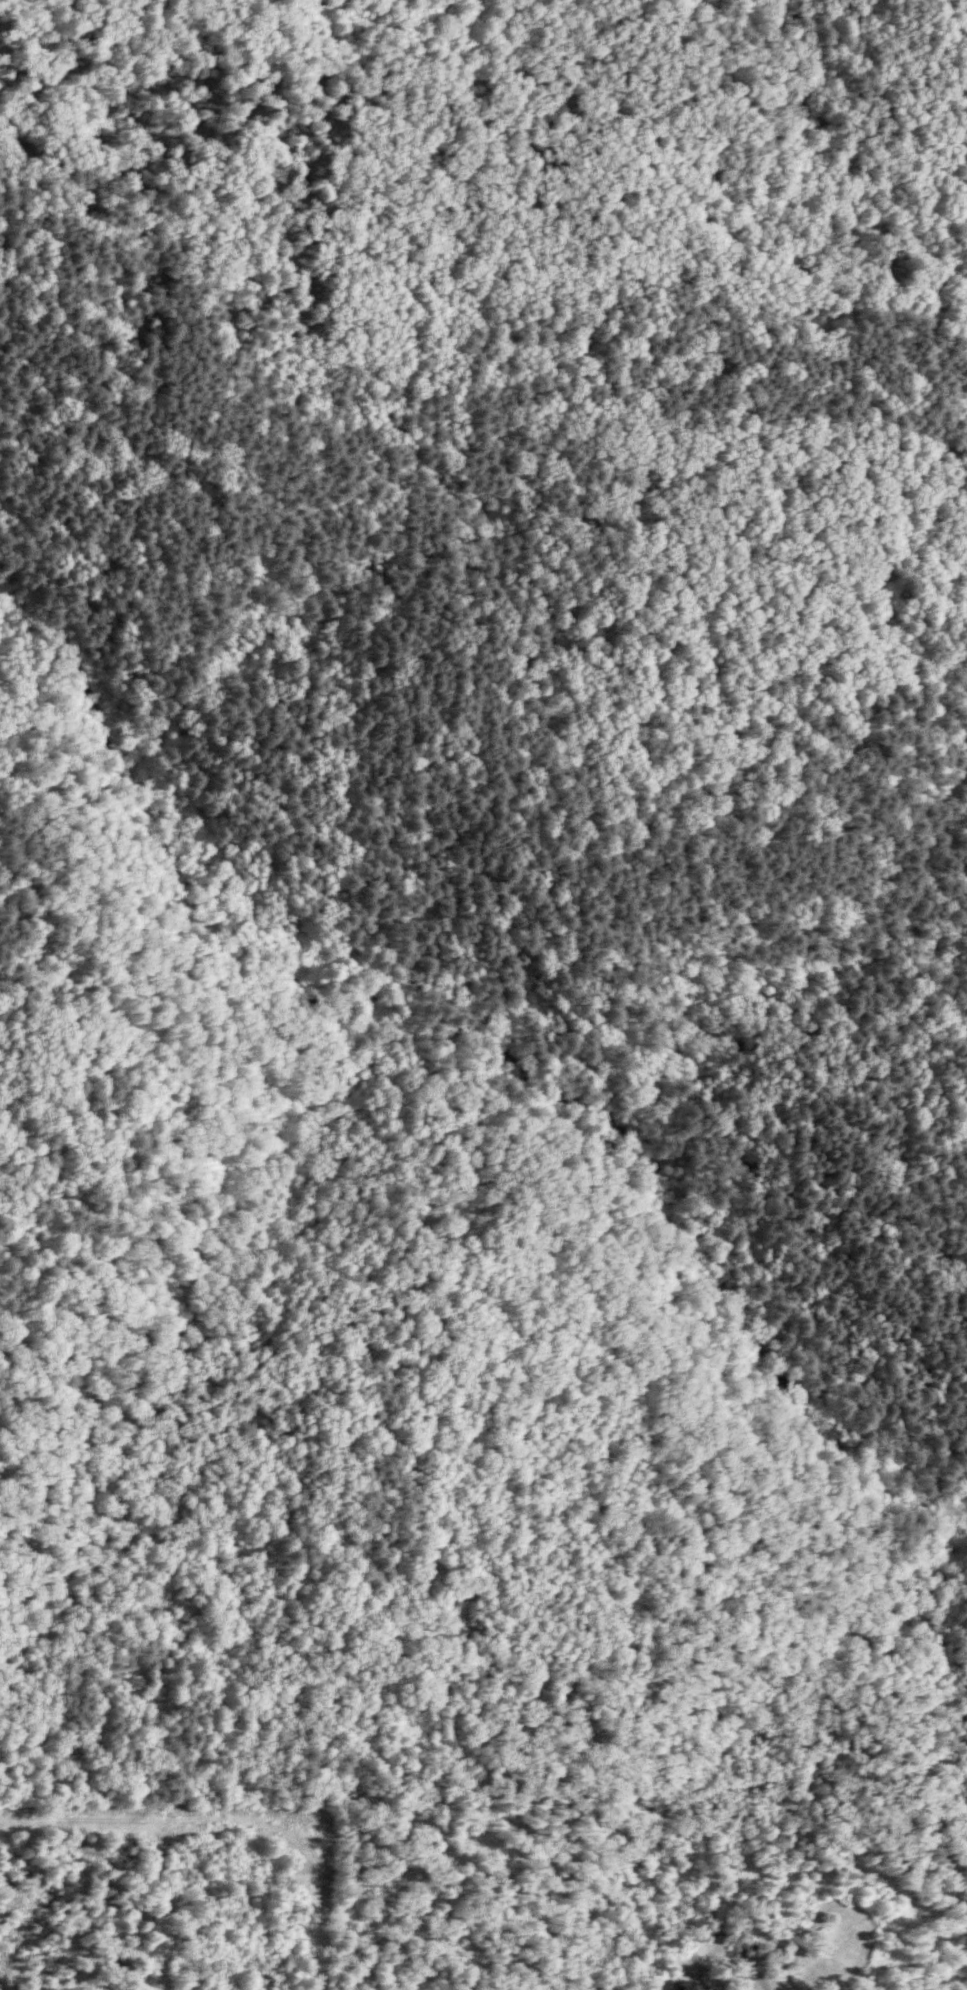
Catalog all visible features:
building: (694, 1987)

